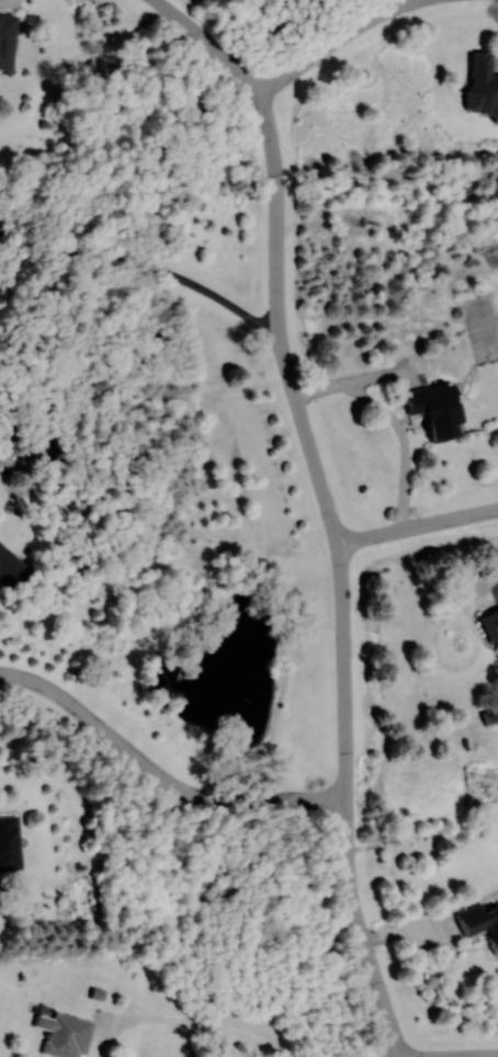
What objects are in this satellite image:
road: (9, 4)
building: (7, 41)
road: (204, 41)
road: (333, 43)
building: (483, 81)
road: (152, 266)
building: (438, 409)
road: (416, 527)
building: (12, 569)
road: (337, 572)
road: (491, 579)
building: (491, 625)
building: (491, 716)
road: (158, 776)
building: (9, 842)
building: (479, 922)
road: (211, 1027)
building: (66, 1035)
road: (473, 1056)

